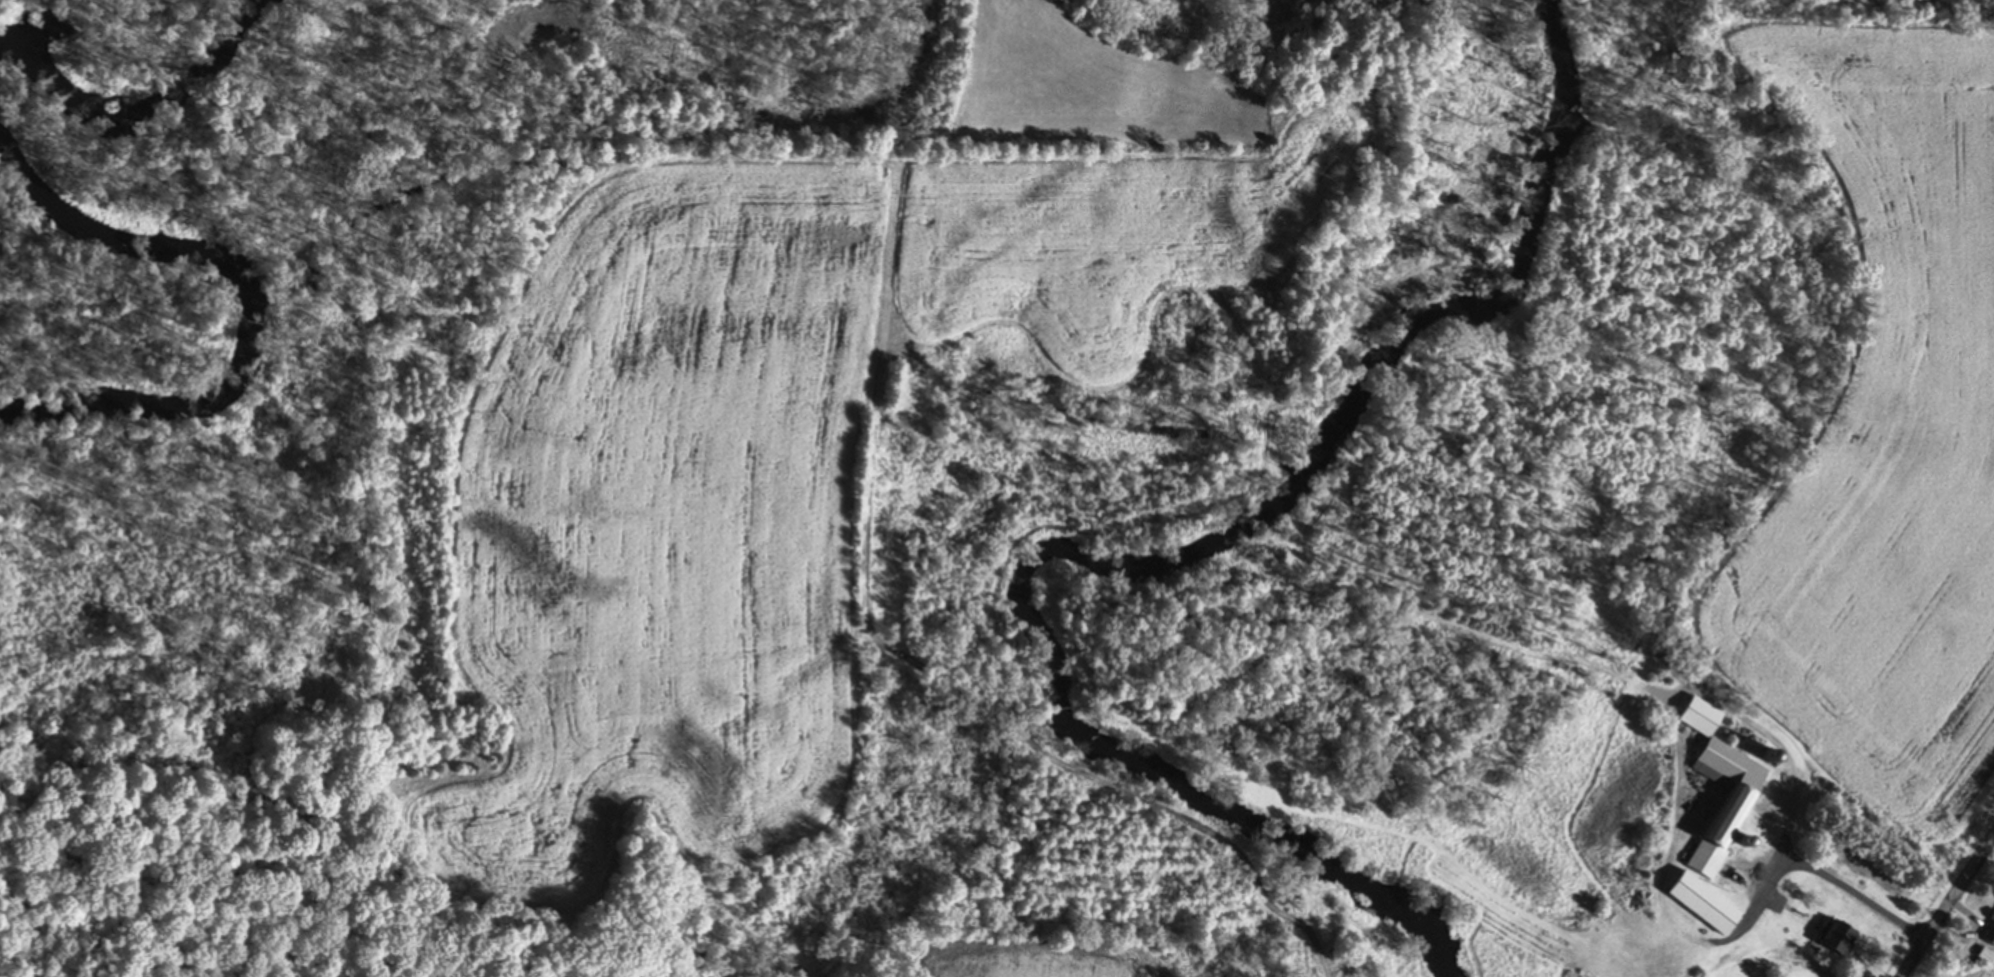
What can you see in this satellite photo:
building: (1915, 4)
river: (145, 102)
river: (252, 300)
river: (1165, 563)
building: (1720, 819)
road: (1852, 896)
building: (1696, 904)
road: (1948, 904)
building: (1987, 934)
building: (1830, 940)
building: (1979, 957)

